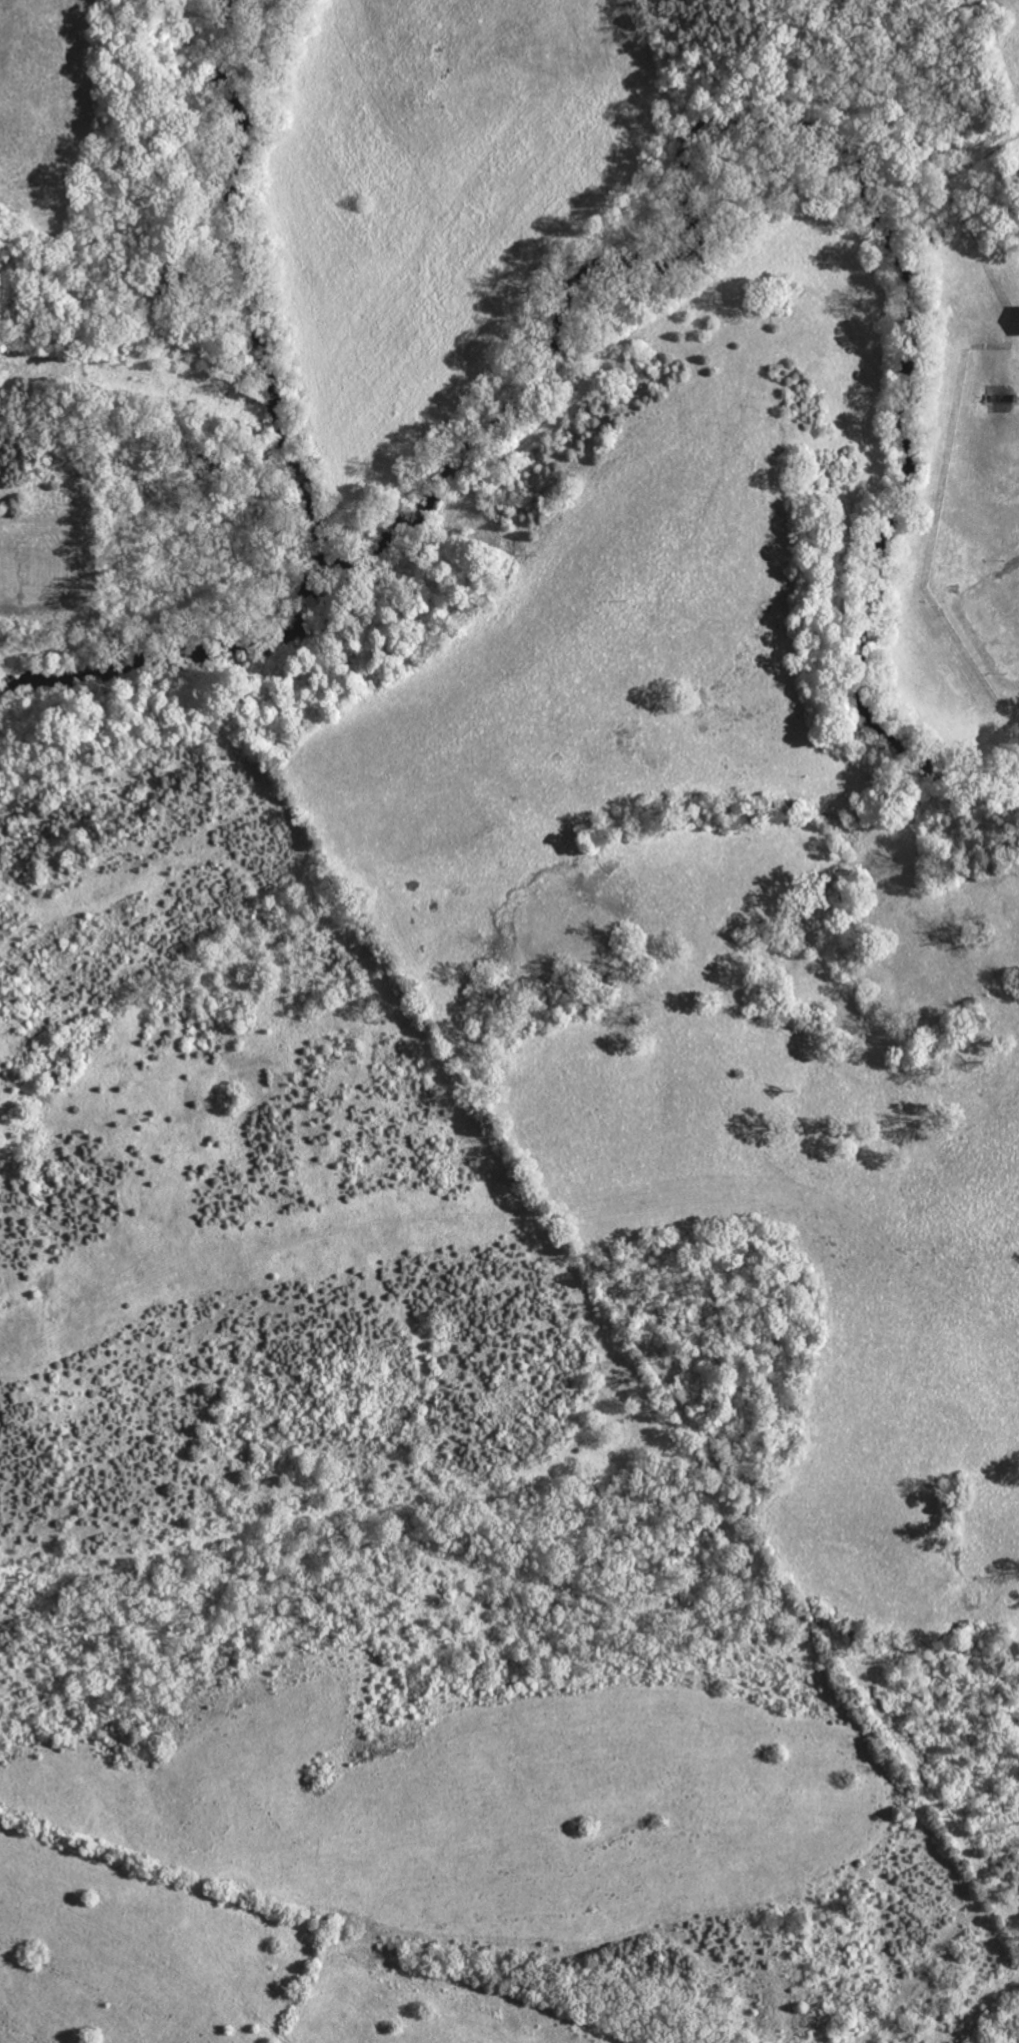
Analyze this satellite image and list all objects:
wastewater plant: (986, 448)
road: (1016, 560)

